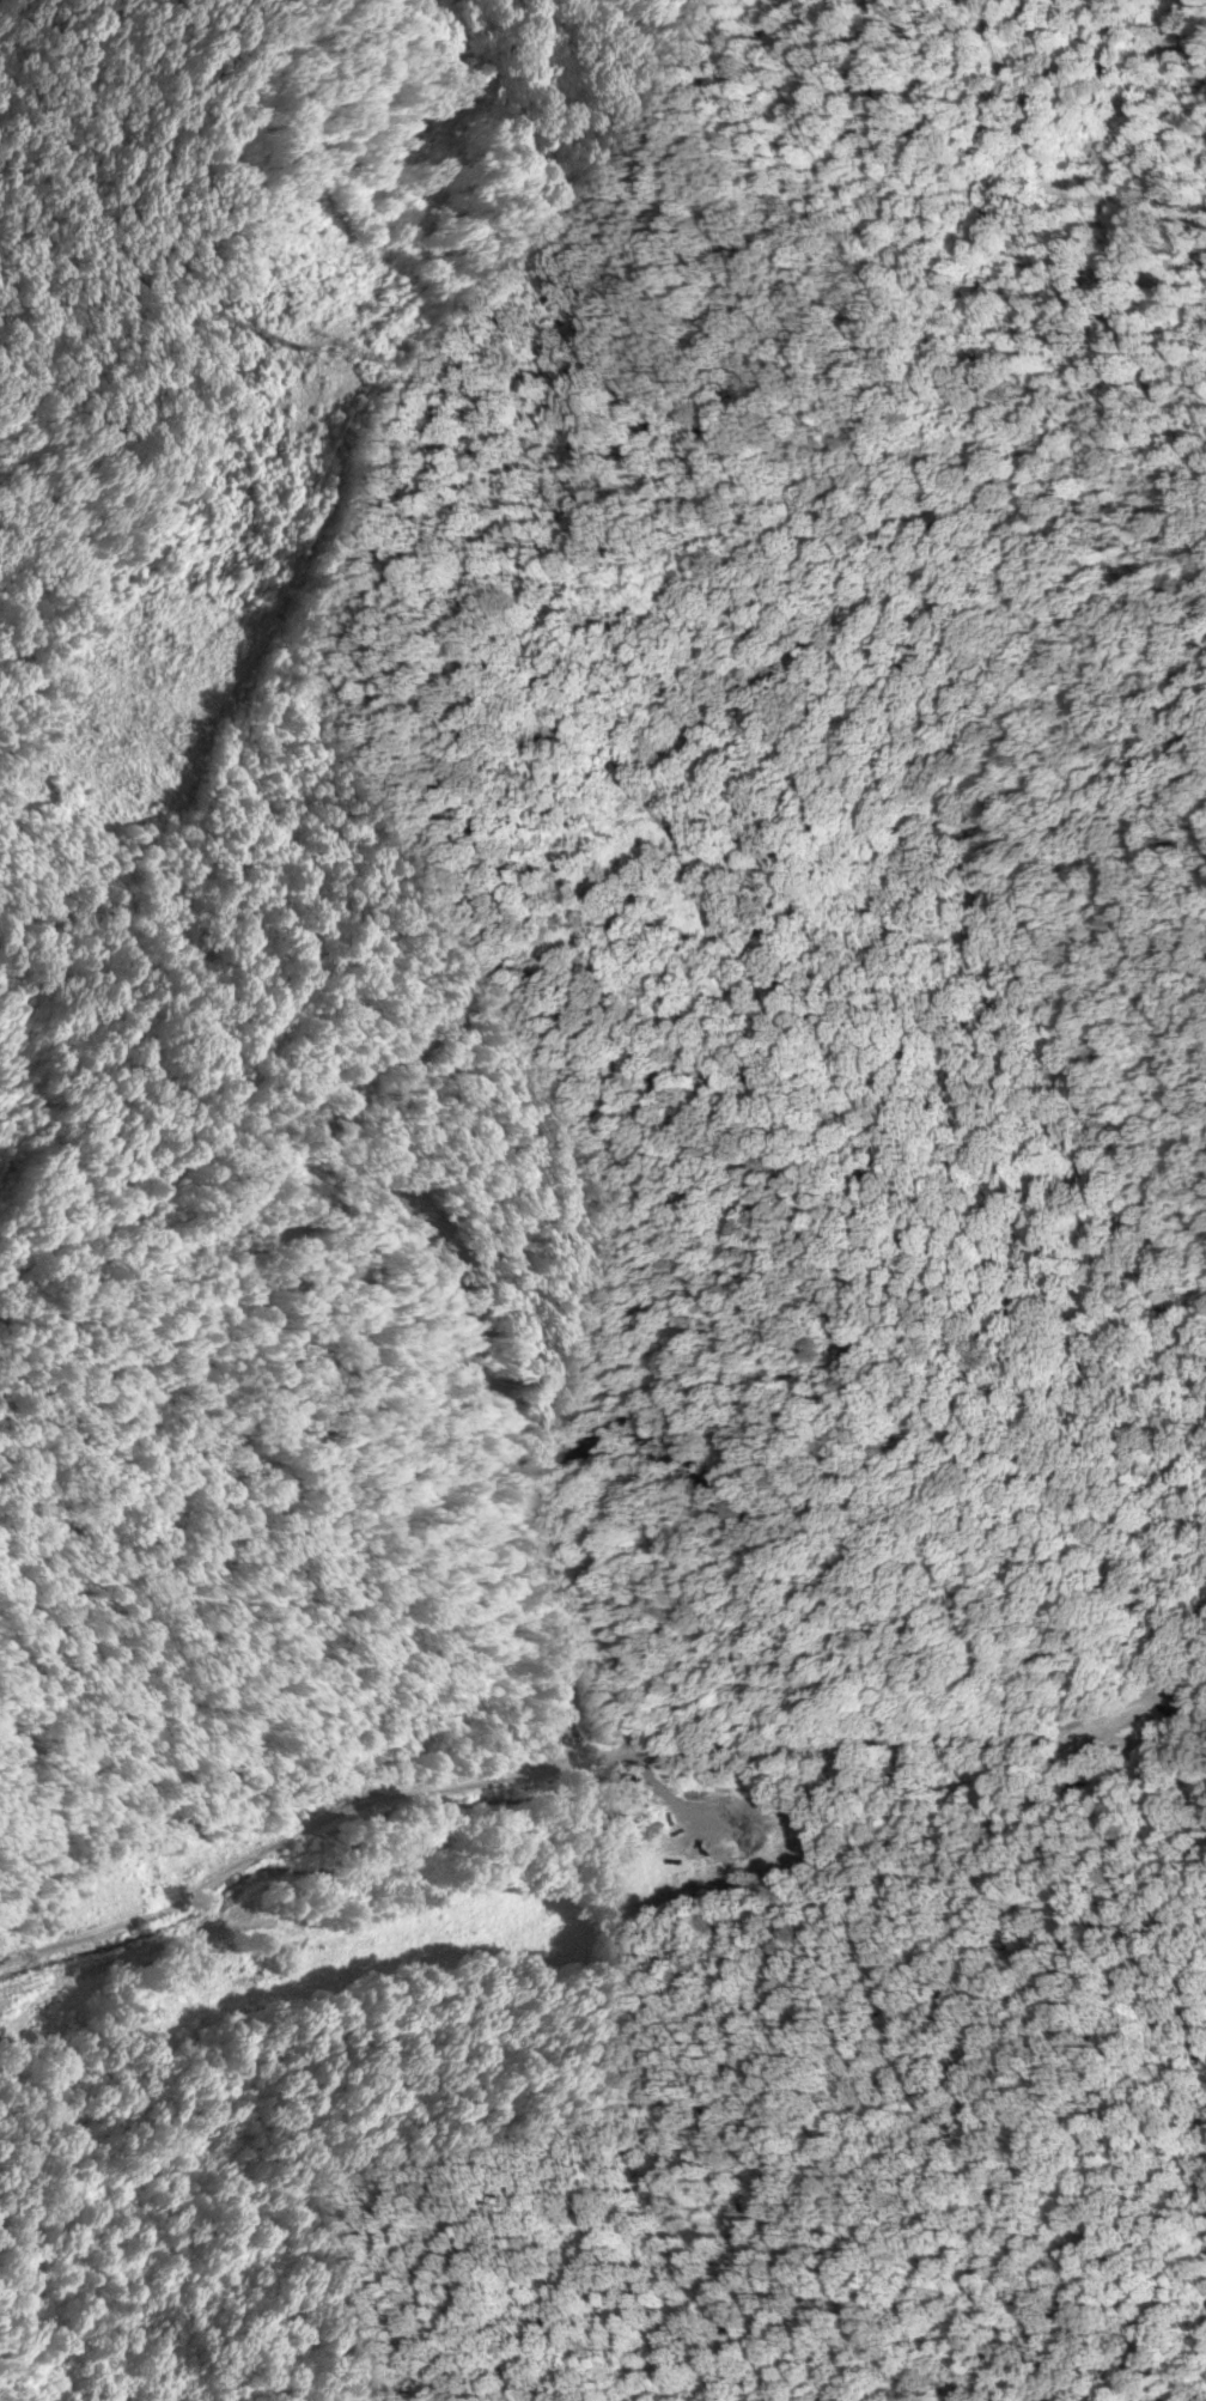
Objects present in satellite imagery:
power tower: (293, 349)
road: (1182, 2395)

